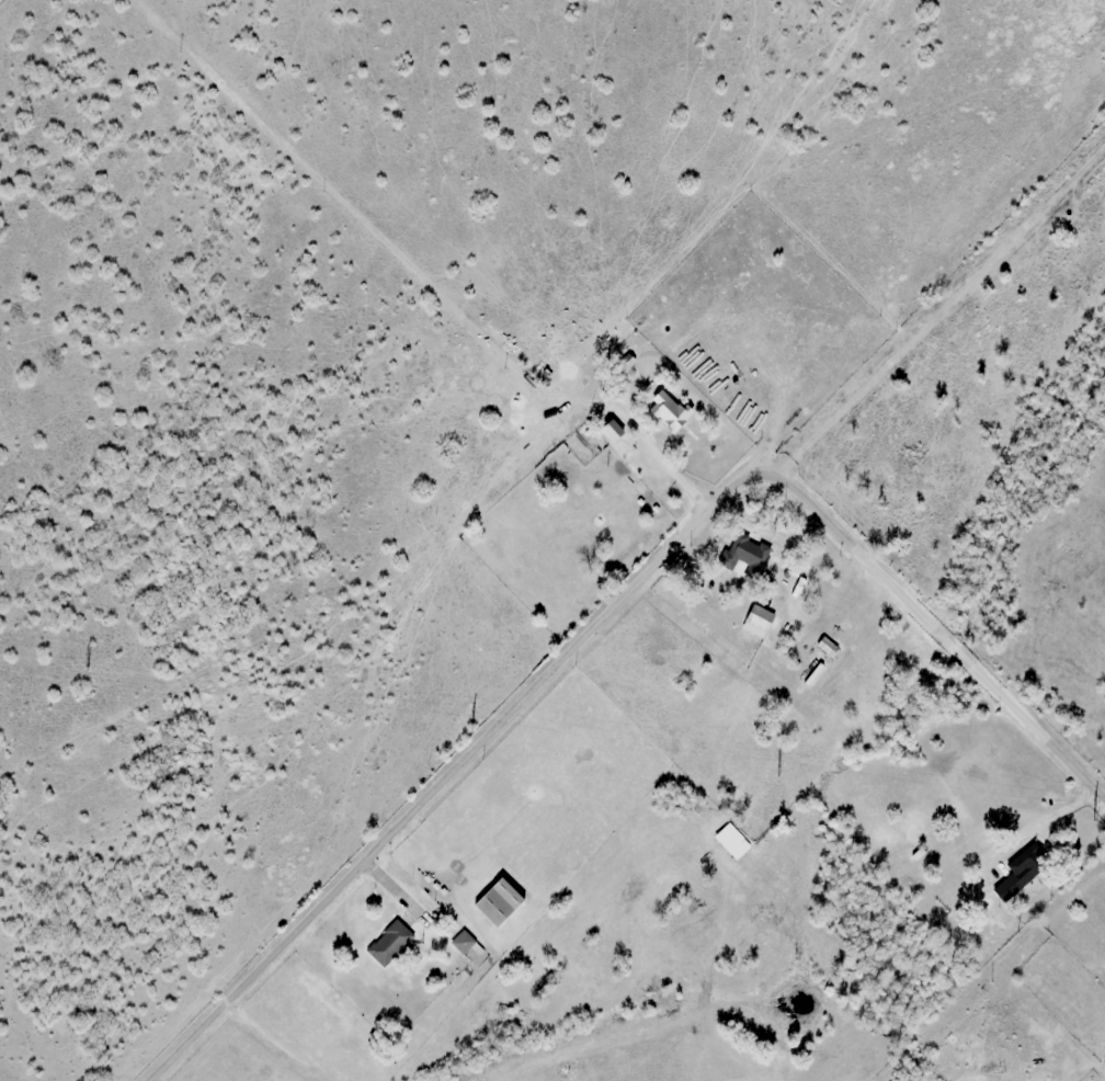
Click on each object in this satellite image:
building: (667, 410)
building: (743, 553)
road: (617, 605)
building: (761, 615)
building: (827, 646)
power tower: (84, 674)
power tower: (468, 727)
power tower: (777, 772)
power tower: (1093, 813)
building: (1023, 866)
building: (1006, 888)
building: (498, 902)
building: (462, 942)
building: (389, 943)

